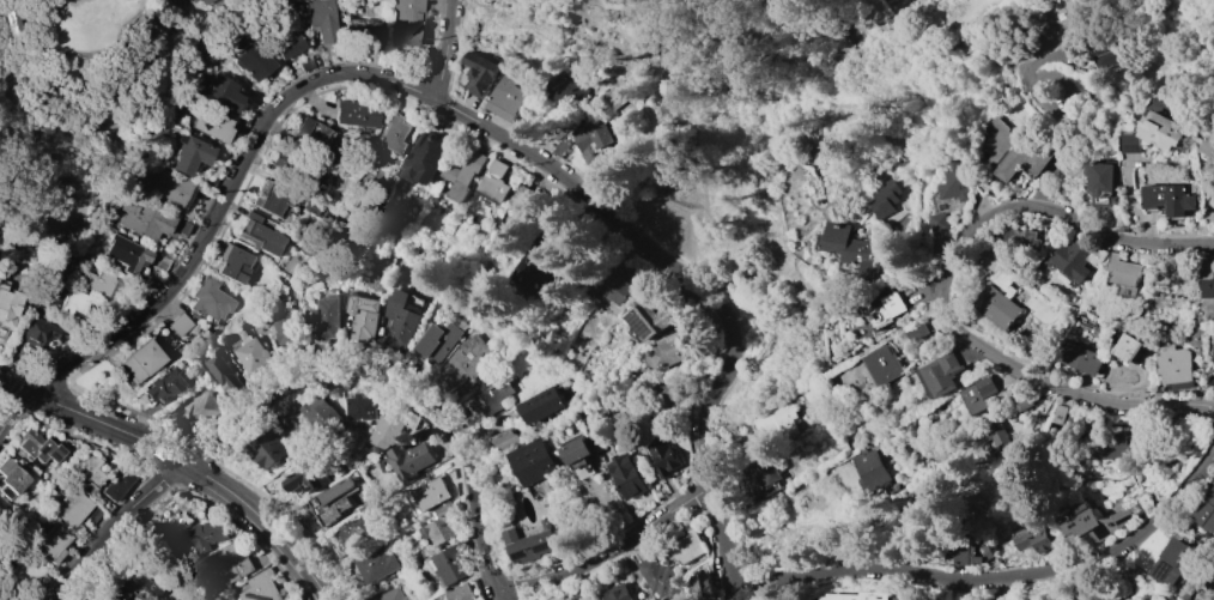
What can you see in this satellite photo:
building: (193, 1)
building: (204, 2)
road: (31, 18)
building: (321, 19)
building: (407, 20)
building: (4, 22)
building: (363, 30)
building: (285, 44)
park: (669, 46)
road: (444, 49)
building: (1110, 54)
building: (250, 60)
building: (306, 63)
building: (480, 73)
road: (1038, 75)
building: (220, 93)
building: (566, 93)
building: (509, 96)
building: (614, 96)
park: (73, 99)
road: (455, 111)
building: (353, 113)
building: (210, 125)
road: (919, 127)
building: (1157, 129)
building: (557, 131)
building: (312, 134)
building: (394, 134)
building: (591, 140)
building: (560, 146)
building: (1208, 147)
building: (1012, 150)
building: (188, 154)
building: (425, 157)
road: (1056, 159)
building: (279, 166)
building: (295, 168)
building: (463, 174)
building: (955, 182)
building: (1101, 182)
building: (493, 183)
building: (169, 187)
building: (268, 199)
building: (885, 199)
building: (1170, 199)
building: (535, 202)
building: (310, 207)
building: (1208, 216)
road: (1070, 218)
building: (147, 219)
building: (939, 222)
building: (259, 235)
building: (1021, 237)
building: (856, 250)
building: (133, 255)
building: (1078, 259)
building: (231, 263)
building: (536, 271)
building: (1123, 271)
building: (1204, 278)
building: (1004, 279)
building: (99, 283)
building: (618, 289)
building: (207, 298)
building: (72, 302)
building: (7, 305)
building: (997, 307)
building: (886, 310)
building: (323, 316)
building: (362, 316)
building: (399, 319)
building: (649, 319)
building: (177, 325)
building: (918, 332)
building: (37, 333)
building: (286, 333)
rooftop solar panel: (43, 334)
rooftop solar panel: (51, 334)
building: (437, 341)
building: (1125, 349)
building: (669, 350)
building: (1213, 350)
building: (250, 353)
building: (1080, 358)
building: (1213, 358)
building: (141, 359)
building: (466, 359)
building: (882, 364)
building: (1173, 364)
building: (221, 371)
road: (305, 371)
building: (941, 375)
building: (1210, 380)
road: (1045, 383)
building: (164, 386)
building: (979, 393)
building: (670, 394)
building: (1025, 404)
building: (540, 405)
building: (363, 406)
building: (198, 411)
building: (317, 411)
building: (291, 412)
building: (1062, 413)
building: (778, 422)
building: (389, 426)
building: (995, 434)
building: (505, 438)
building: (1118, 444)
building: (37, 447)
building: (266, 448)
rooftop solar panel: (41, 449)
building: (577, 450)
rooftop solar panel: (59, 451)
rooftop solar panel: (51, 456)
building: (664, 456)
building: (409, 457)
road: (183, 461)
building: (533, 461)
building: (86, 468)
building: (870, 468)
building: (629, 475)
building: (765, 475)
building: (10, 479)
building: (301, 479)
building: (115, 481)
building: (431, 493)
road: (623, 495)
building: (334, 501)
building: (71, 507)
building: (1, 508)
building: (1206, 511)
building: (1093, 523)
building: (443, 525)
building: (354, 533)
building: (192, 537)
building: (1031, 537)
building: (51, 543)
building: (529, 543)
rooftop solar panel: (545, 546)
building: (684, 547)
road: (609, 549)
building: (985, 551)
rooftop solar panel: (522, 554)
building: (966, 554)
building: (230, 562)
building: (1172, 562)
building: (454, 564)
building: (375, 565)
building: (26, 574)
building: (660, 577)
road: (997, 578)
building: (138, 586)
building: (260, 587)
building: (704, 587)
building: (1184, 589)
building: (463, 593)
building: (618, 593)
building: (389, 595)
road: (1212, 595)
building: (109, 596)
building: (861, 596)
building: (1172, 598)
building: (1, 599)

